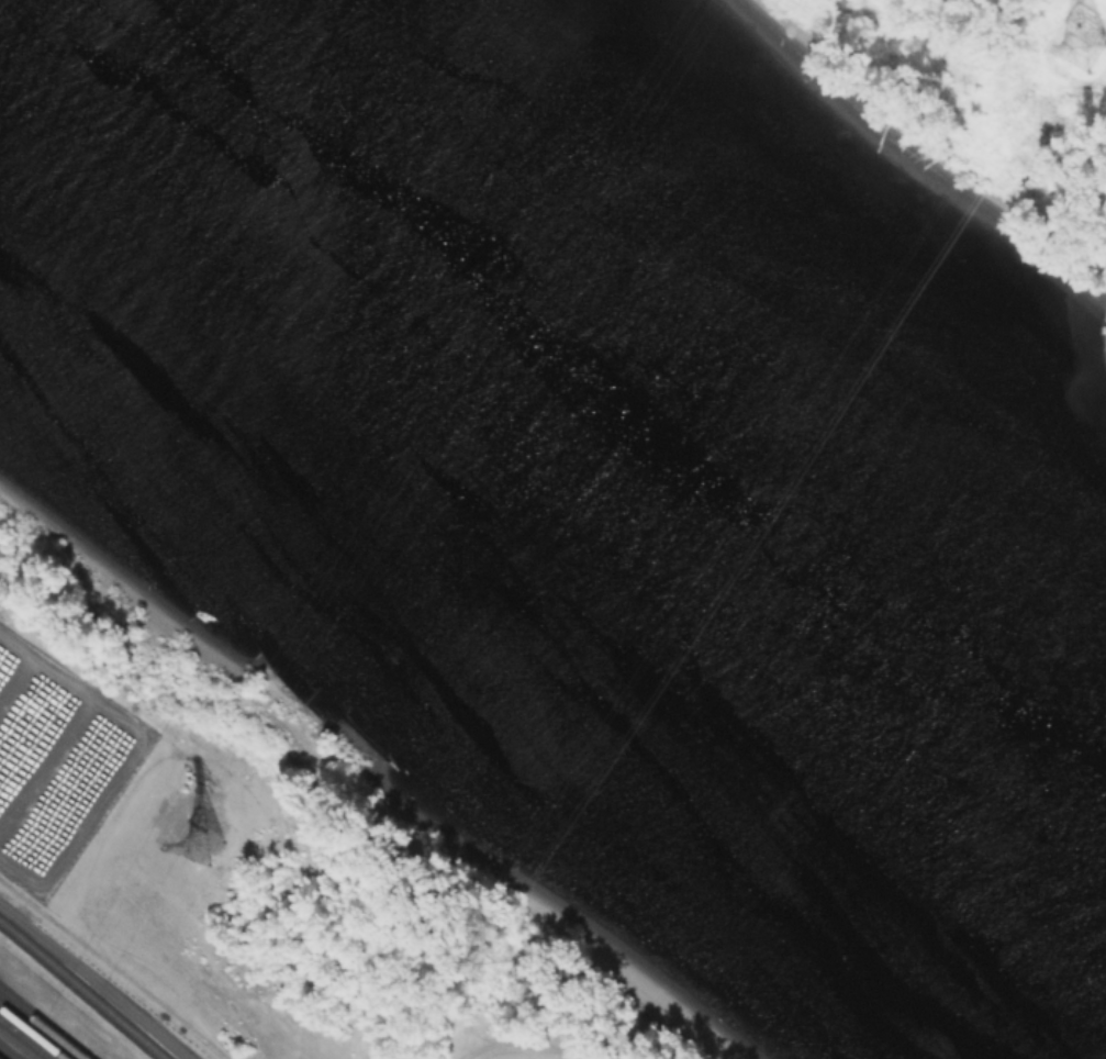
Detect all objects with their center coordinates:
power tower: (1081, 54)
river: (590, 408)
power tower: (203, 846)
power tower: (489, 963)
railway: (80, 991)
railway: (42, 1026)
railway: (31, 1034)
railway: (21, 1041)
railway: (5, 1054)

